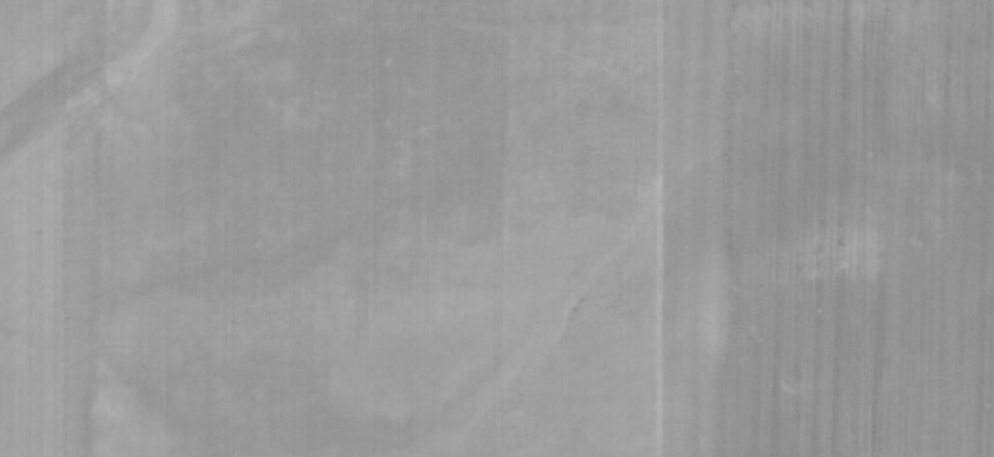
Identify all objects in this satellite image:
crop: (497, 228)

